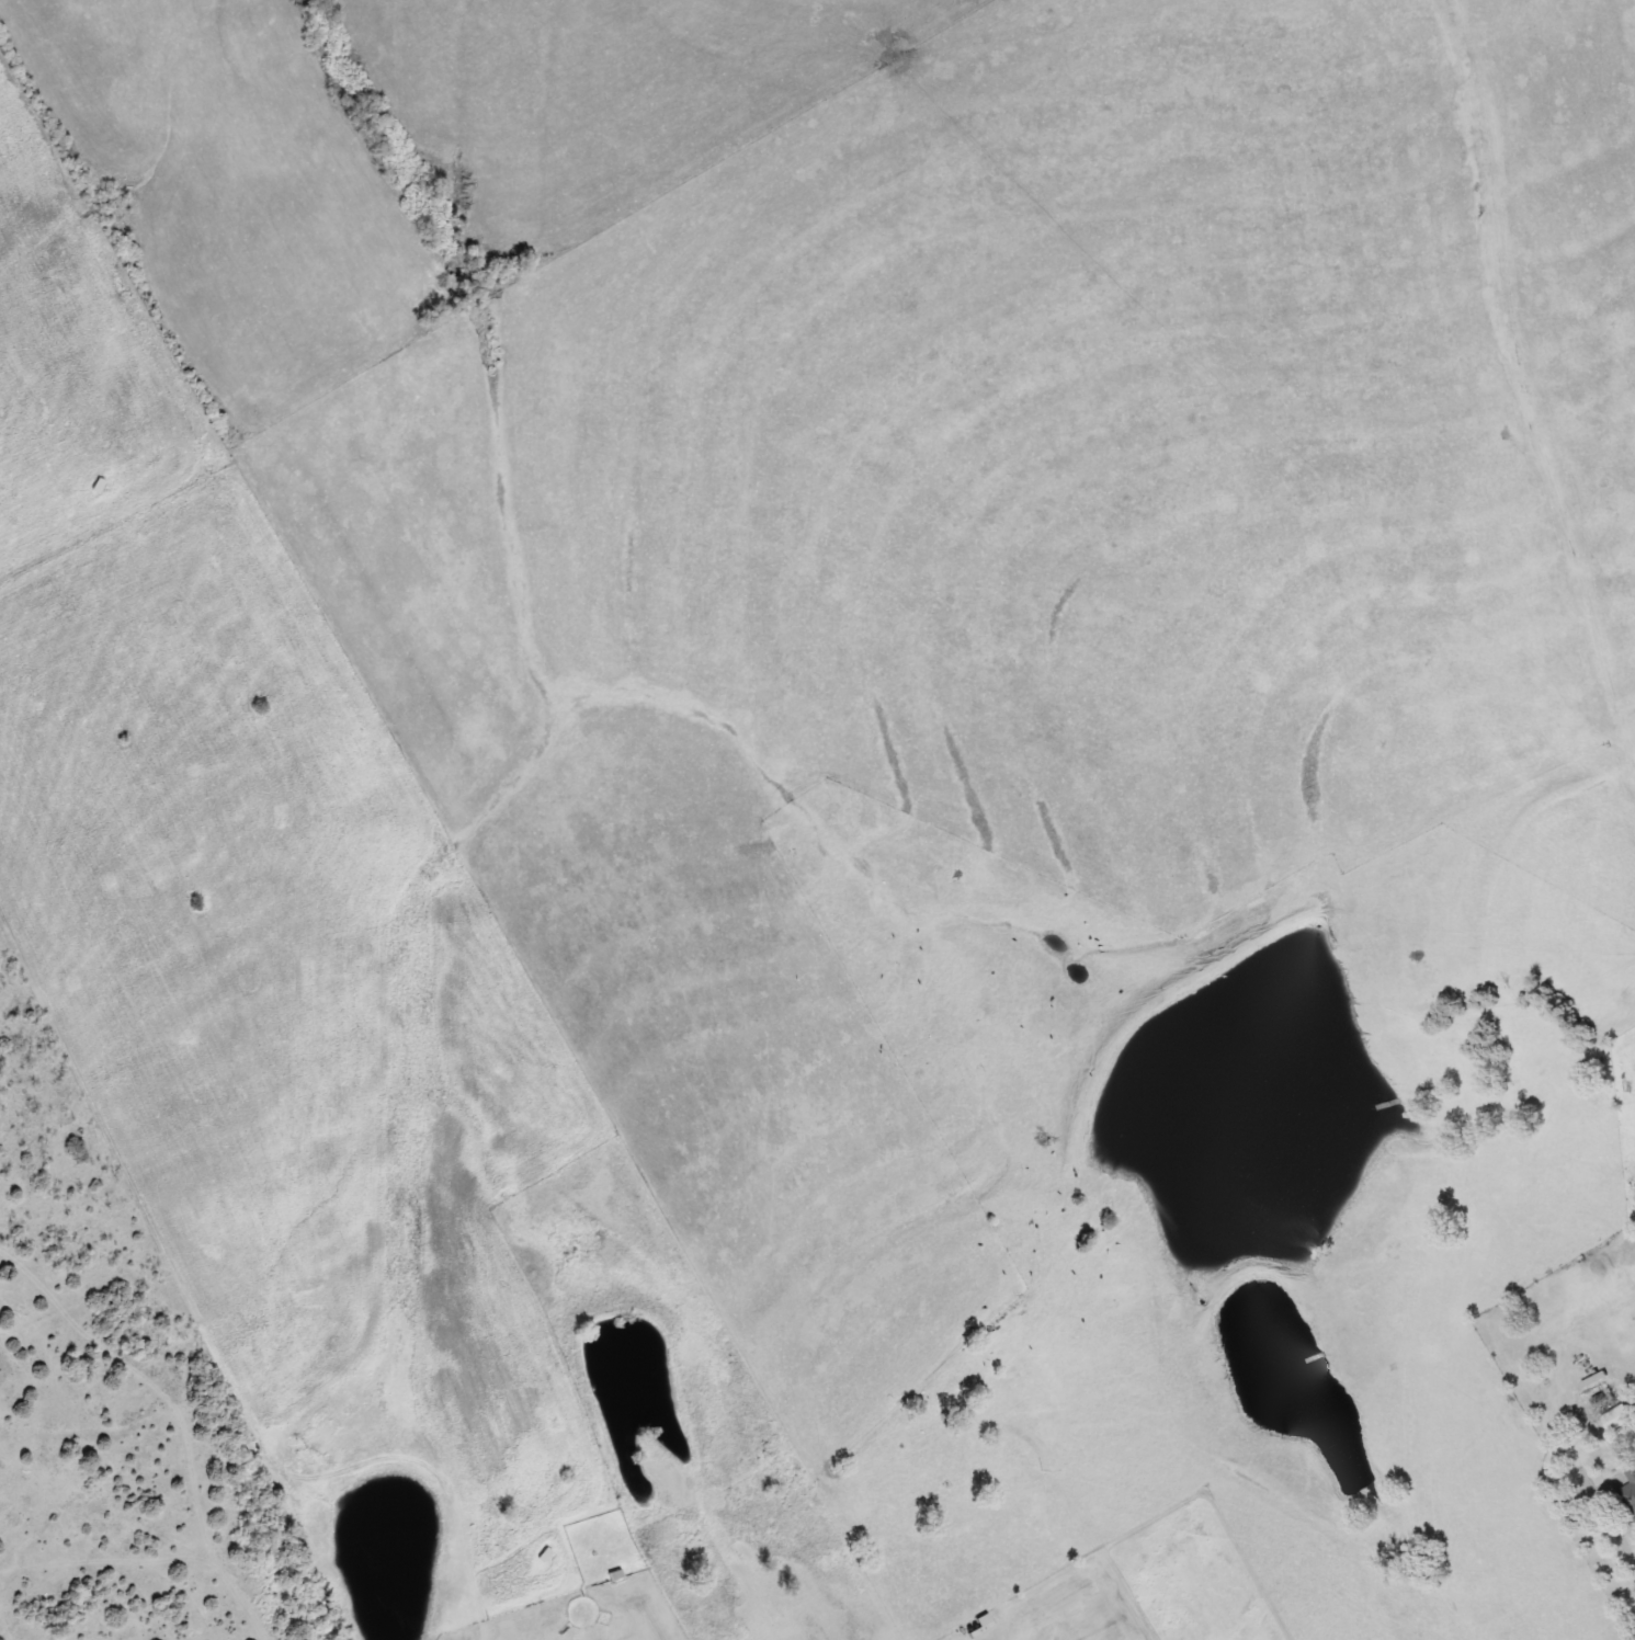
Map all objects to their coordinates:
building: (1616, 1417)
building: (1630, 1489)

